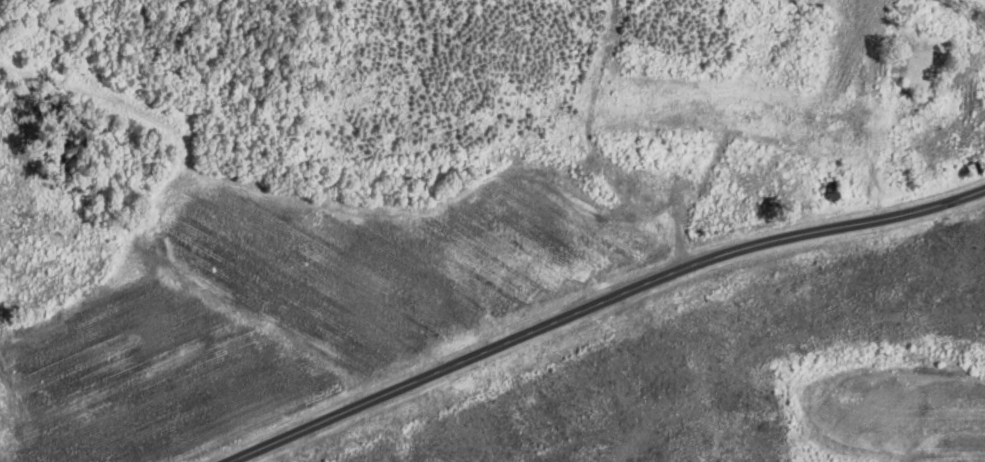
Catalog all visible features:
road: (597, 300)

